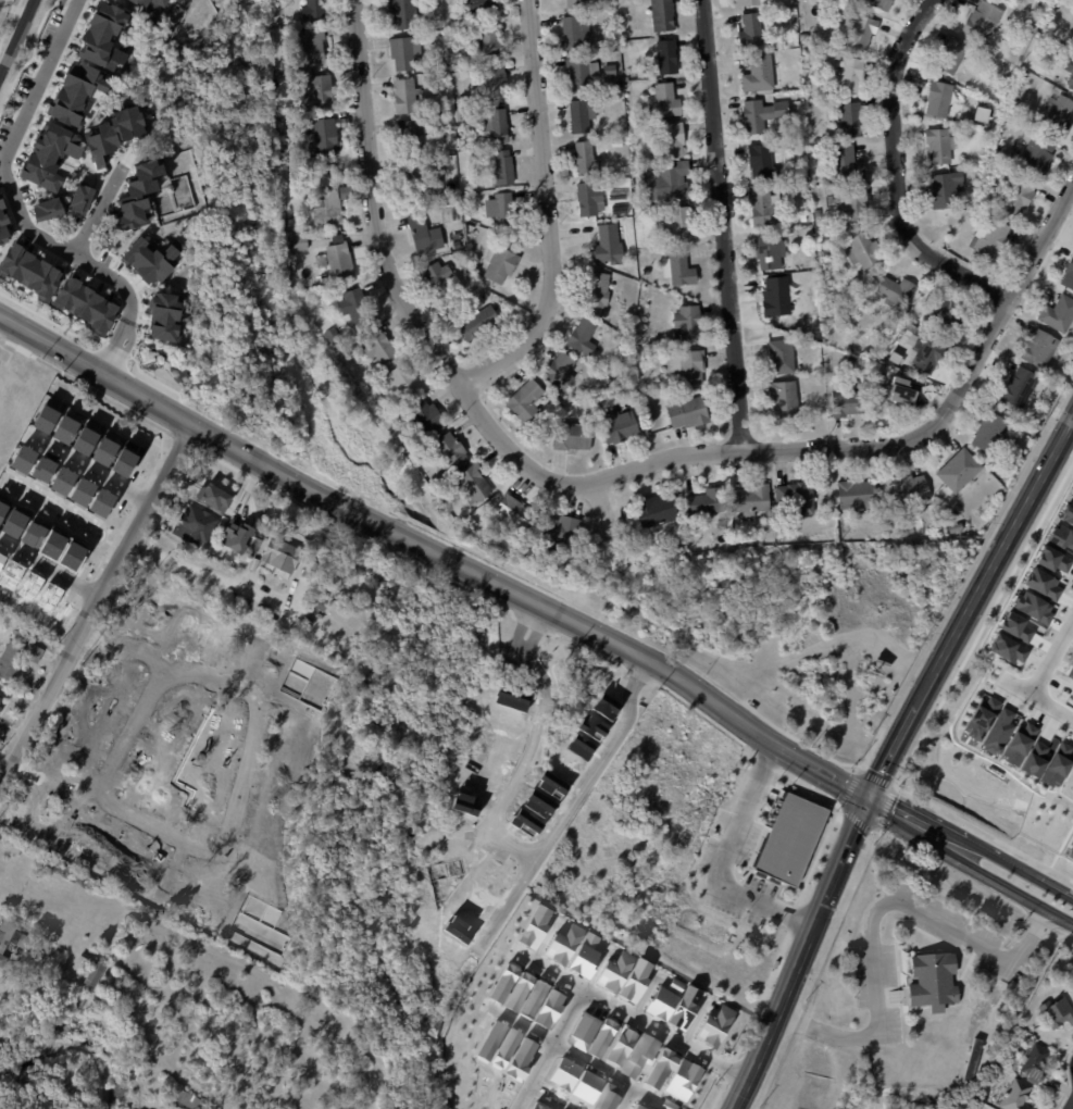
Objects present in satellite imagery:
building: (766, 1)
building: (745, 2)
building: (575, 3)
building: (878, 3)
building: (1039, 4)
building: (481, 5)
building: (312, 9)
building: (149, 10)
building: (404, 14)
building: (662, 14)
building: (982, 21)
building: (749, 30)
building: (575, 33)
building: (860, 33)
road: (16, 35)
building: (1038, 35)
building: (103, 36)
building: (488, 42)
building: (608, 43)
building: (310, 45)
building: (451, 49)
building: (403, 52)
building: (951, 53)
building: (666, 57)
building: (1026, 63)
building: (579, 73)
building: (758, 74)
building: (849, 74)
building: (1071, 79)
building: (494, 82)
building: (615, 86)
building: (317, 91)
building: (74, 94)
building: (404, 96)
building: (613, 96)
building: (938, 98)
building: (665, 99)
building: (797, 107)
building: (758, 113)
building: (980, 114)
building: (578, 116)
building: (1060, 116)
building: (850, 120)
building: (494, 125)
building: (324, 132)
building: (114, 133)
building: (409, 136)
building: (671, 139)
building: (616, 144)
building: (939, 145)
building: (799, 153)
building: (1036, 153)
building: (49, 154)
building: (585, 159)
building: (760, 160)
building: (966, 161)
building: (846, 163)
building: (501, 169)
building: (640, 172)
road: (896, 173)
building: (145, 177)
building: (816, 178)
building: (423, 179)
building: (667, 183)
building: (944, 189)
building: (1018, 196)
building: (465, 198)
building: (79, 199)
building: (588, 199)
building: (833, 200)
building: (854, 202)
building: (46, 208)
building: (326, 208)
road: (17, 209)
building: (499, 209)
building: (764, 209)
road: (99, 210)
building: (818, 212)
road: (548, 213)
building: (128, 214)
building: (796, 216)
building: (2, 222)
building: (677, 225)
road: (723, 225)
building: (423, 234)
building: (990, 239)
building: (298, 242)
building: (608, 245)
building: (769, 250)
building: (863, 250)
building: (831, 251)
building: (653, 253)
building: (462, 257)
building: (150, 259)
building: (320, 261)
building: (338, 261)
building: (499, 264)
building: (28, 269)
building: (677, 269)
building: (821, 271)
building: (1068, 275)
building: (437, 278)
building: (651, 278)
road: (398, 288)
building: (595, 289)
building: (895, 291)
building: (777, 296)
building: (85, 303)
building: (353, 307)
building: (945, 311)
building: (1058, 313)
building: (815, 316)
building: (164, 317)
building: (477, 323)
building: (686, 323)
building: (330, 334)
building: (581, 337)
building: (639, 341)
building: (376, 346)
building: (1039, 349)
building: (927, 354)
building: (781, 358)
building: (687, 369)
building: (559, 372)
building: (400, 381)
building: (1060, 383)
building: (1019, 387)
building: (364, 388)
building: (899, 390)
building: (785, 399)
building: (525, 400)
building: (627, 400)
building: (849, 403)
building: (686, 412)
building: (423, 418)
building: (45, 419)
road: (1072, 425)
building: (616, 426)
building: (64, 429)
building: (989, 433)
building: (1014, 435)
building: (571, 436)
road: (901, 438)
building: (84, 440)
building: (104, 450)
building: (448, 450)
building: (22, 459)
building: (124, 461)
building: (991, 466)
building: (41, 470)
building: (959, 471)
road: (96, 474)
building: (61, 481)
building: (471, 485)
building: (80, 490)
building: (907, 490)
building: (1071, 494)
building: (856, 495)
building: (797, 496)
building: (214, 497)
building: (751, 500)
building: (101, 502)
building: (708, 502)
road: (601, 506)
building: (1, 508)
building: (511, 512)
building: (657, 512)
building: (1066, 513)
building: (454, 515)
building: (10, 523)
building: (471, 523)
building: (192, 524)
building: (955, 528)
building: (562, 531)
building: (841, 531)
building: (30, 534)
building: (236, 534)
building: (852, 535)
building: (1061, 538)
building: (749, 539)
road: (1007, 540)
building: (53, 546)
road: (434, 553)
building: (280, 556)
building: (74, 557)
building: (1051, 559)
building: (1, 561)
building: (253, 563)
road: (51, 570)
road: (204, 572)
building: (308, 573)
building: (11, 575)
building: (1040, 583)
building: (30, 586)
building: (173, 586)
building: (50, 597)
road: (97, 606)
building: (1031, 607)
building: (1014, 627)
building: (17, 636)
road: (548, 638)
road: (99, 643)
road: (523, 647)
building: (1006, 648)
road: (121, 649)
road: (151, 653)
building: (15, 657)
road: (1051, 658)
road: (989, 663)
parking lot: (228, 666)
building: (1070, 672)
road: (637, 676)
parking lot: (216, 689)
road: (998, 690)
building: (1071, 695)
building: (510, 698)
building: (0, 699)
road: (1011, 699)
road: (1038, 699)
building: (603, 706)
building: (0, 708)
road: (1036, 714)
road: (702, 715)
building: (980, 718)
building: (590, 725)
road: (902, 727)
road: (1048, 727)
building: (996, 732)
road: (1069, 736)
building: (1016, 744)
road: (54, 746)
building: (578, 746)
building: (1033, 760)
road: (764, 761)
building: (1055, 764)
road: (1063, 776)
parking lot: (117, 781)
building: (550, 784)
parking lot: (129, 798)
traffic signals: (866, 798)
building: (461, 802)
building: (537, 802)
building: (80, 819)
building: (524, 822)
parking lot: (216, 827)
parking lot: (198, 833)
building: (789, 837)
road: (1068, 840)
road: (971, 843)
road: (1061, 847)
road: (846, 848)
road: (213, 849)
building: (1070, 852)
road: (529, 853)
road: (724, 859)
road: (173, 864)
road: (966, 864)
parking lot: (734, 871)
road: (507, 905)
road: (872, 918)
building: (182, 919)
building: (534, 925)
parking lot: (957, 929)
building: (454, 930)
building: (11, 934)
road: (544, 940)
building: (561, 945)
building: (584, 954)
building: (1, 958)
building: (1072, 963)
road: (547, 968)
road: (596, 970)
building: (614, 971)
building: (93, 973)
building: (503, 980)
building: (634, 980)
building: (933, 980)
building: (115, 982)
parking lot: (877, 988)
building: (520, 990)
road: (645, 995)
building: (75, 996)
building: (133, 996)
building: (662, 998)
building: (538, 1000)
building: (101, 1002)
road: (781, 1004)
building: (685, 1008)
building: (554, 1009)
building: (1058, 1012)
building: (116, 1018)
road: (517, 1022)
road: (694, 1023)
building: (713, 1026)
building: (581, 1027)
road: (664, 1034)
building: (601, 1035)
building: (487, 1036)
building: (620, 1046)
building: (503, 1047)
road: (546, 1047)
building: (639, 1056)
building: (521, 1057)
building: (1034, 1063)
road: (590, 1064)
building: (659, 1068)
building: (562, 1073)
building: (683, 1079)
building: (584, 1086)
building: (489, 1094)
building: (1015, 1095)
road: (646, 1096)
building: (604, 1098)
road: (625, 1098)
building: (189, 1100)
building: (535, 1105)
building: (666, 1105)
road: (1071, 1105)
building: (476, 1107)
building: (637, 1107)

